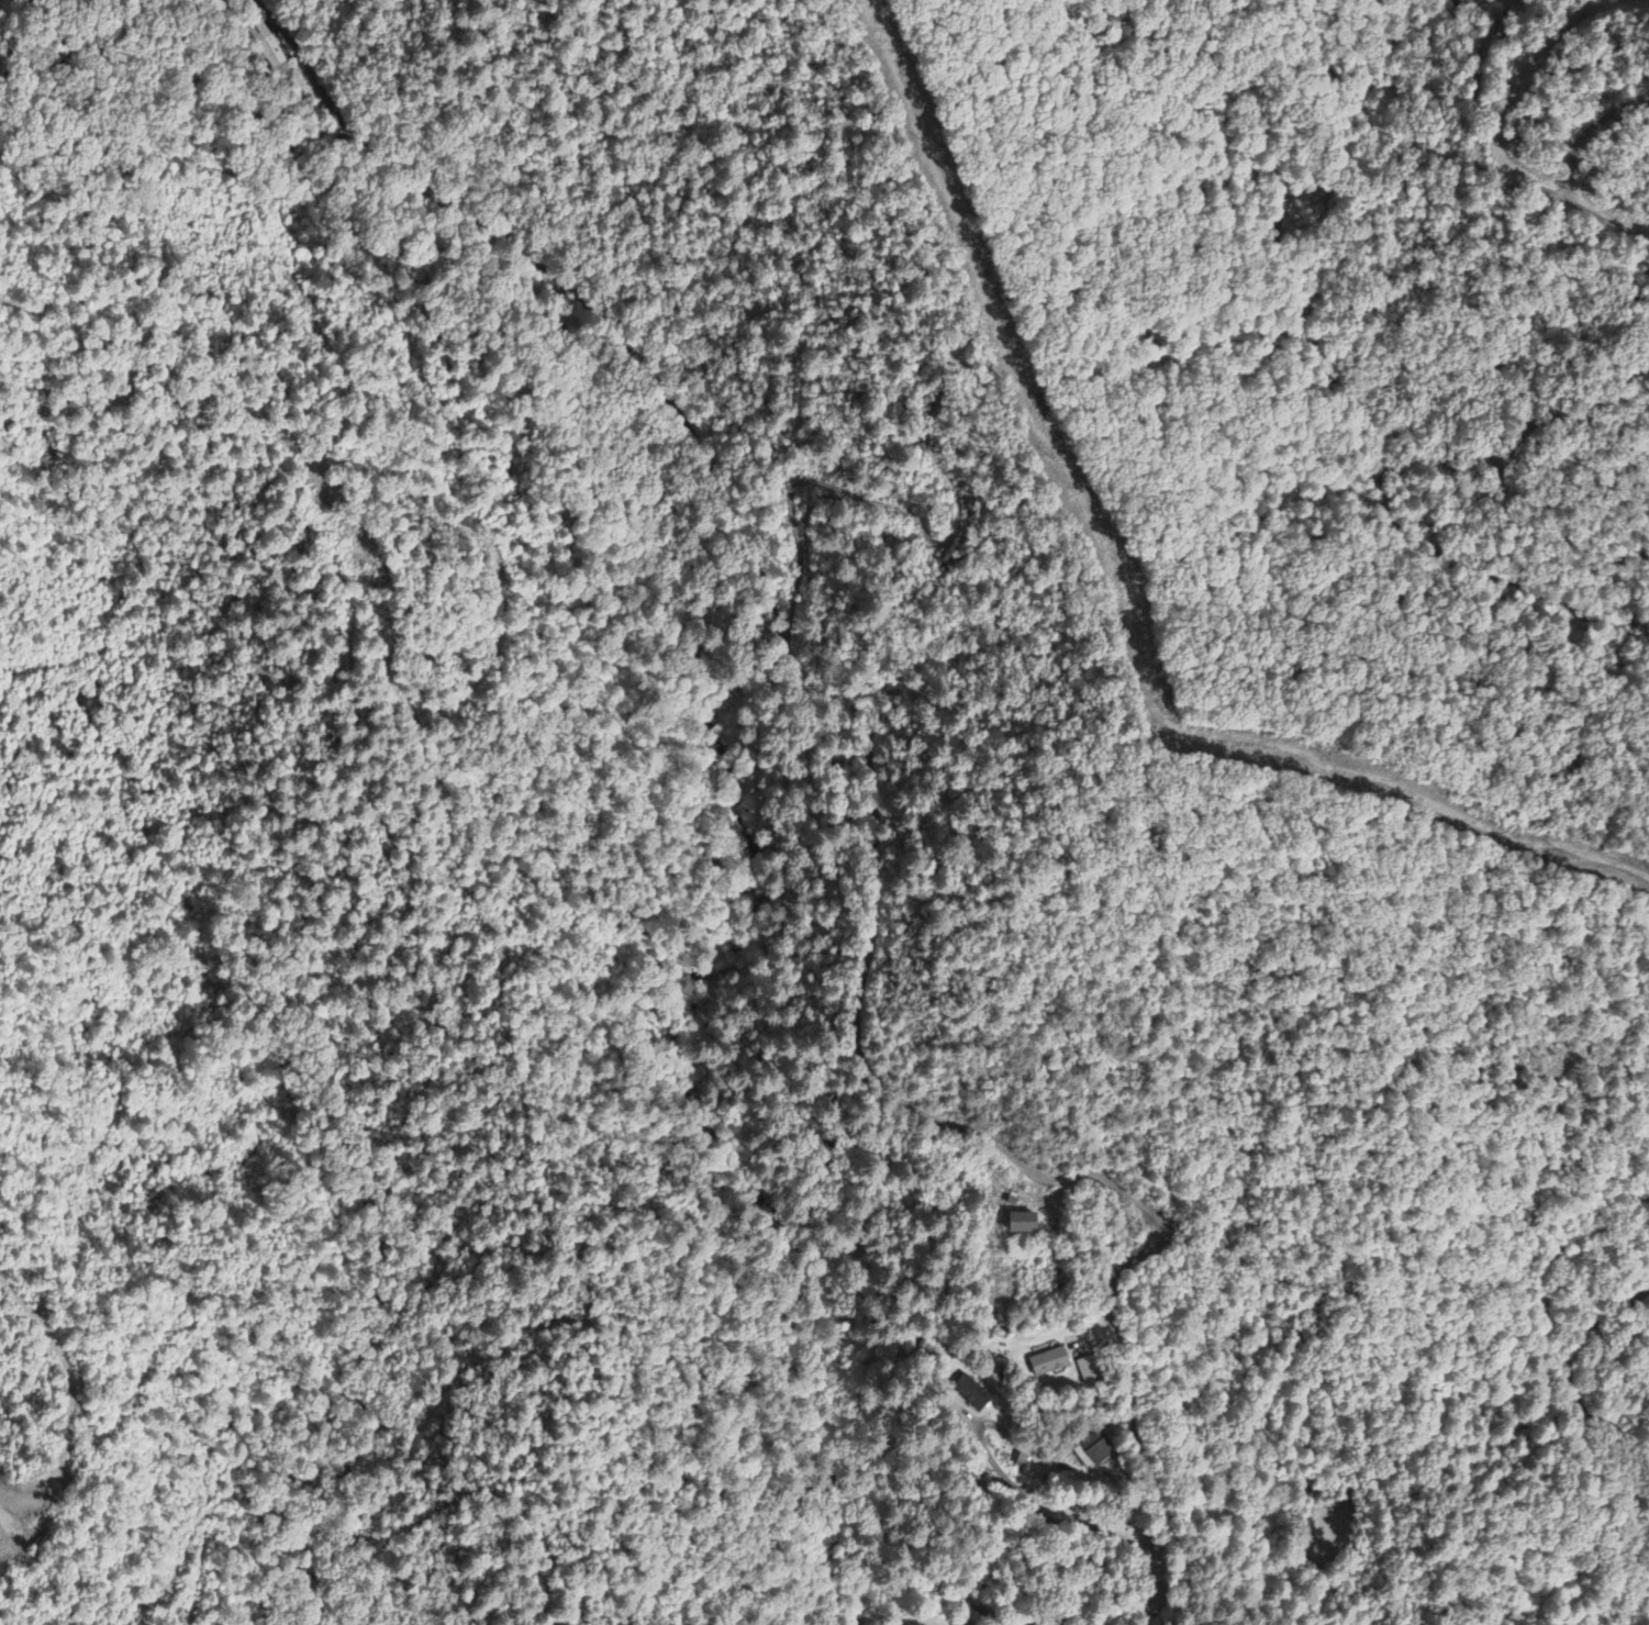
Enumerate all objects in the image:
building: (268, 47)
road: (902, 795)
building: (1020, 1224)
building: (1047, 1362)
building: (1085, 1370)
building: (970, 1393)
building: (1091, 1453)
building: (1035, 1624)

